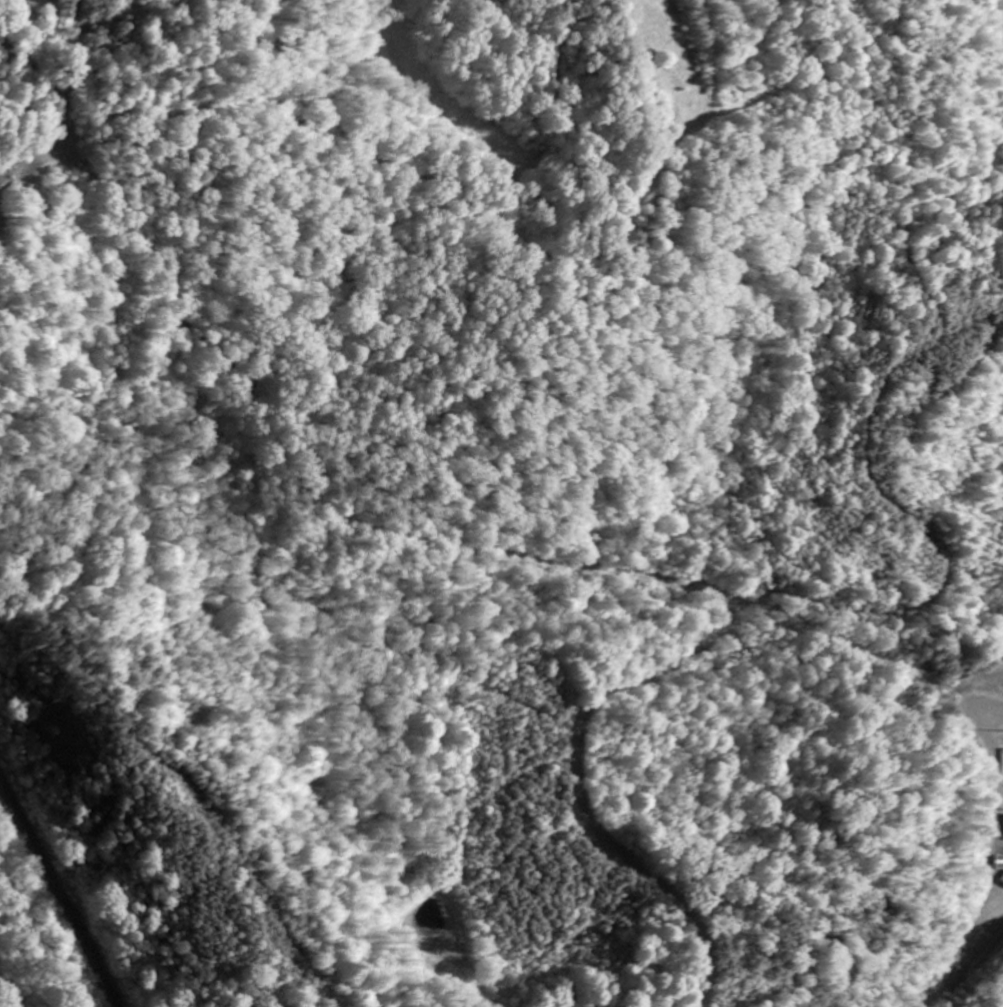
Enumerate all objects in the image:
road: (610, 132)
road: (172, 299)
road: (694, 648)
railway: (60, 892)

